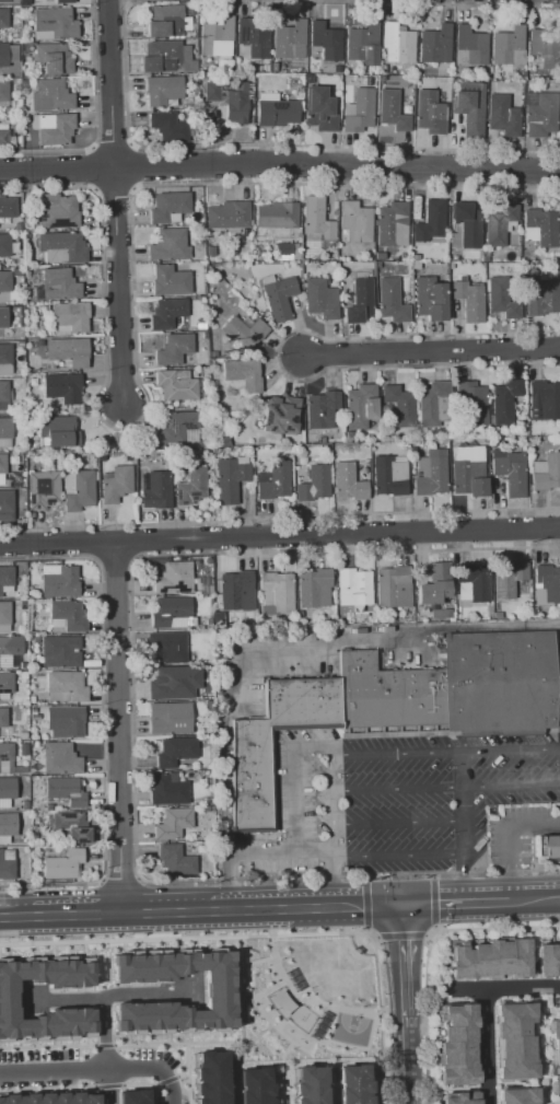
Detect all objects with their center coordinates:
building: (4, 1)
building: (63, 2)
building: (3, 18)
building: (163, 21)
building: (55, 23)
building: (214, 33)
building: (254, 35)
building: (289, 39)
building: (546, 40)
building: (323, 43)
building: (362, 44)
building: (396, 44)
building: (435, 44)
building: (505, 44)
building: (469, 46)
building: (11, 54)
building: (3, 55)
building: (157, 55)
building: (54, 59)
road: (109, 84)
building: (162, 90)
building: (3, 96)
building: (50, 96)
building: (235, 104)
building: (320, 108)
building: (359, 111)
building: (392, 111)
building: (277, 112)
building: (428, 113)
building: (469, 116)
building: (502, 116)
building: (541, 116)
building: (168, 127)
building: (56, 129)
building: (3, 138)
road: (280, 166)
building: (168, 206)
building: (7, 208)
building: (59, 214)
building: (227, 214)
building: (277, 214)
building: (316, 218)
building: (355, 221)
building: (431, 221)
building: (390, 224)
building: (466, 224)
building: (499, 224)
building: (542, 225)
building: (4, 245)
building: (168, 245)
building: (61, 247)
building: (281, 251)
building: (168, 281)
building: (4, 284)
building: (58, 284)
road: (117, 286)
building: (278, 297)
building: (320, 298)
building: (429, 299)
building: (545, 299)
building: (468, 300)
building: (500, 300)
building: (359, 301)
building: (390, 301)
building: (166, 313)
building: (2, 317)
building: (68, 317)
building: (244, 333)
building: (173, 349)
building: (67, 352)
road: (430, 353)
building: (5, 359)
building: (243, 374)
building: (175, 386)
building: (62, 387)
building: (3, 391)
building: (546, 398)
building: (503, 400)
building: (399, 403)
building: (470, 404)
building: (433, 406)
building: (361, 407)
building: (320, 410)
building: (279, 418)
building: (178, 426)
building: (4, 428)
building: (57, 431)
building: (1, 464)
building: (468, 472)
building: (431, 473)
building: (548, 473)
building: (511, 474)
building: (388, 476)
building: (230, 480)
building: (272, 480)
building: (347, 481)
building: (313, 483)
building: (115, 485)
building: (191, 486)
building: (43, 489)
building: (78, 490)
building: (156, 490)
building: (5, 504)
road: (279, 537)
building: (5, 577)
building: (174, 578)
building: (507, 580)
building: (59, 582)
building: (474, 582)
building: (548, 582)
building: (434, 584)
building: (393, 585)
building: (353, 586)
building: (313, 588)
building: (278, 590)
building: (236, 591)
building: (168, 611)
building: (4, 613)
building: (67, 615)
building: (11, 646)
building: (164, 646)
building: (60, 652)
parking lot: (310, 656)
road: (307, 663)
building: (172, 681)
building: (7, 682)
building: (500, 683)
building: (67, 685)
building: (388, 696)
building: (3, 718)
building: (170, 719)
building: (67, 721)
road: (118, 729)
building: (7, 752)
building: (175, 752)
road: (510, 755)
building: (59, 758)
road: (394, 758)
building: (250, 779)
road: (295, 785)
building: (7, 788)
building: (65, 790)
building: (167, 790)
road: (444, 791)
road: (329, 798)
parking lot: (394, 798)
building: (172, 824)
road: (396, 824)
building: (4, 825)
building: (70, 827)
road: (464, 829)
parking lot: (518, 830)
road: (507, 838)
building: (547, 847)
road: (330, 851)
road: (280, 856)
road: (398, 859)
building: (178, 861)
building: (7, 864)
building: (62, 864)
road: (398, 874)
road: (432, 875)
road: (364, 878)
road: (535, 899)
road: (432, 902)
road: (455, 903)
road: (364, 904)
traffic signals: (401, 904)
road: (346, 906)
road: (249, 908)
road: (166, 911)
road: (75, 914)
road: (14, 916)
road: (365, 929)
road: (433, 929)
road: (430, 933)
road: (401, 936)
road: (427, 936)
road: (375, 937)
road: (270, 938)
road: (530, 943)
building: (489, 960)
building: (548, 960)
road: (257, 961)
road: (404, 971)
road: (504, 987)
road: (267, 988)
building: (215, 992)
road: (109, 995)
road: (303, 995)
park: (307, 996)
building: (8, 998)
road: (549, 1006)
road: (242, 1009)
road: (330, 1022)
park: (350, 1029)
road: (102, 1032)
building: (514, 1041)
road: (195, 1042)
building: (455, 1044)
road: (537, 1044)
road: (103, 1045)
road: (296, 1045)
road: (485, 1046)
road: (47, 1047)
road: (281, 1056)
building: (555, 1057)
road: (406, 1070)
road: (68, 1071)
road: (187, 1073)
road: (182, 1074)
road: (163, 1077)
building: (207, 1077)
road: (166, 1080)
road: (138, 1083)
building: (253, 1084)
road: (331, 1084)
building: (354, 1084)
road: (108, 1085)
building: (306, 1085)
road: (107, 1086)
road: (47, 1088)
road: (472, 1088)
road: (231, 1089)
road: (152, 1093)
building: (132, 1096)
building: (516, 1096)
building: (48, 1097)
building: (457, 1099)
road: (550, 1099)
building: (559, 1103)

